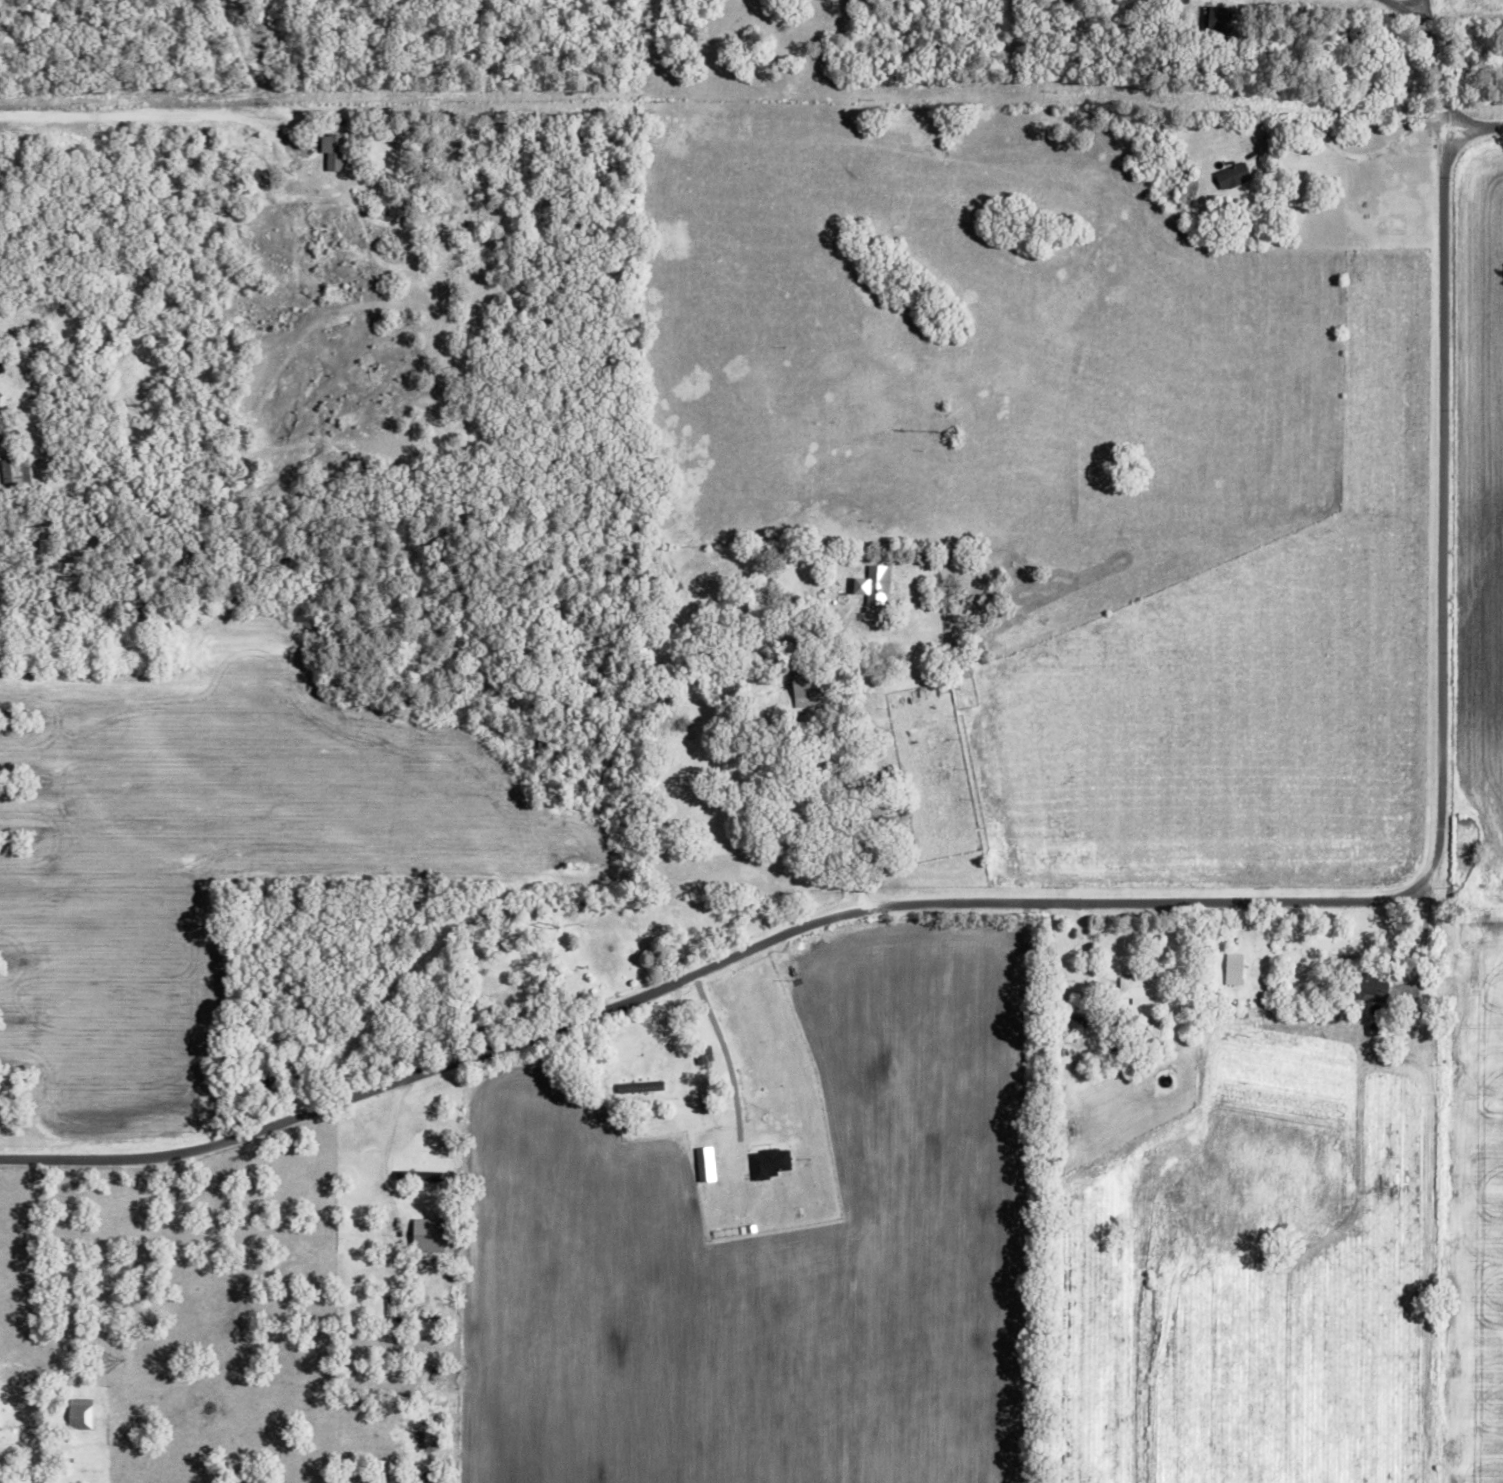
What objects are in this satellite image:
road: (1402, 5)
road: (1430, 67)
road: (107, 114)
road: (259, 124)
road: (1476, 133)
building: (332, 150)
road: (1358, 157)
building: (1234, 175)
building: (1, 368)
building: (1, 433)
building: (13, 471)
building: (875, 579)
building: (809, 692)
road: (1070, 909)
building: (1234, 969)
building: (1139, 988)
building: (1374, 988)
building: (1078, 1022)
road: (674, 1038)
building: (640, 1087)
building: (769, 1163)
building: (418, 1176)
building: (427, 1235)
building: (79, 1414)

